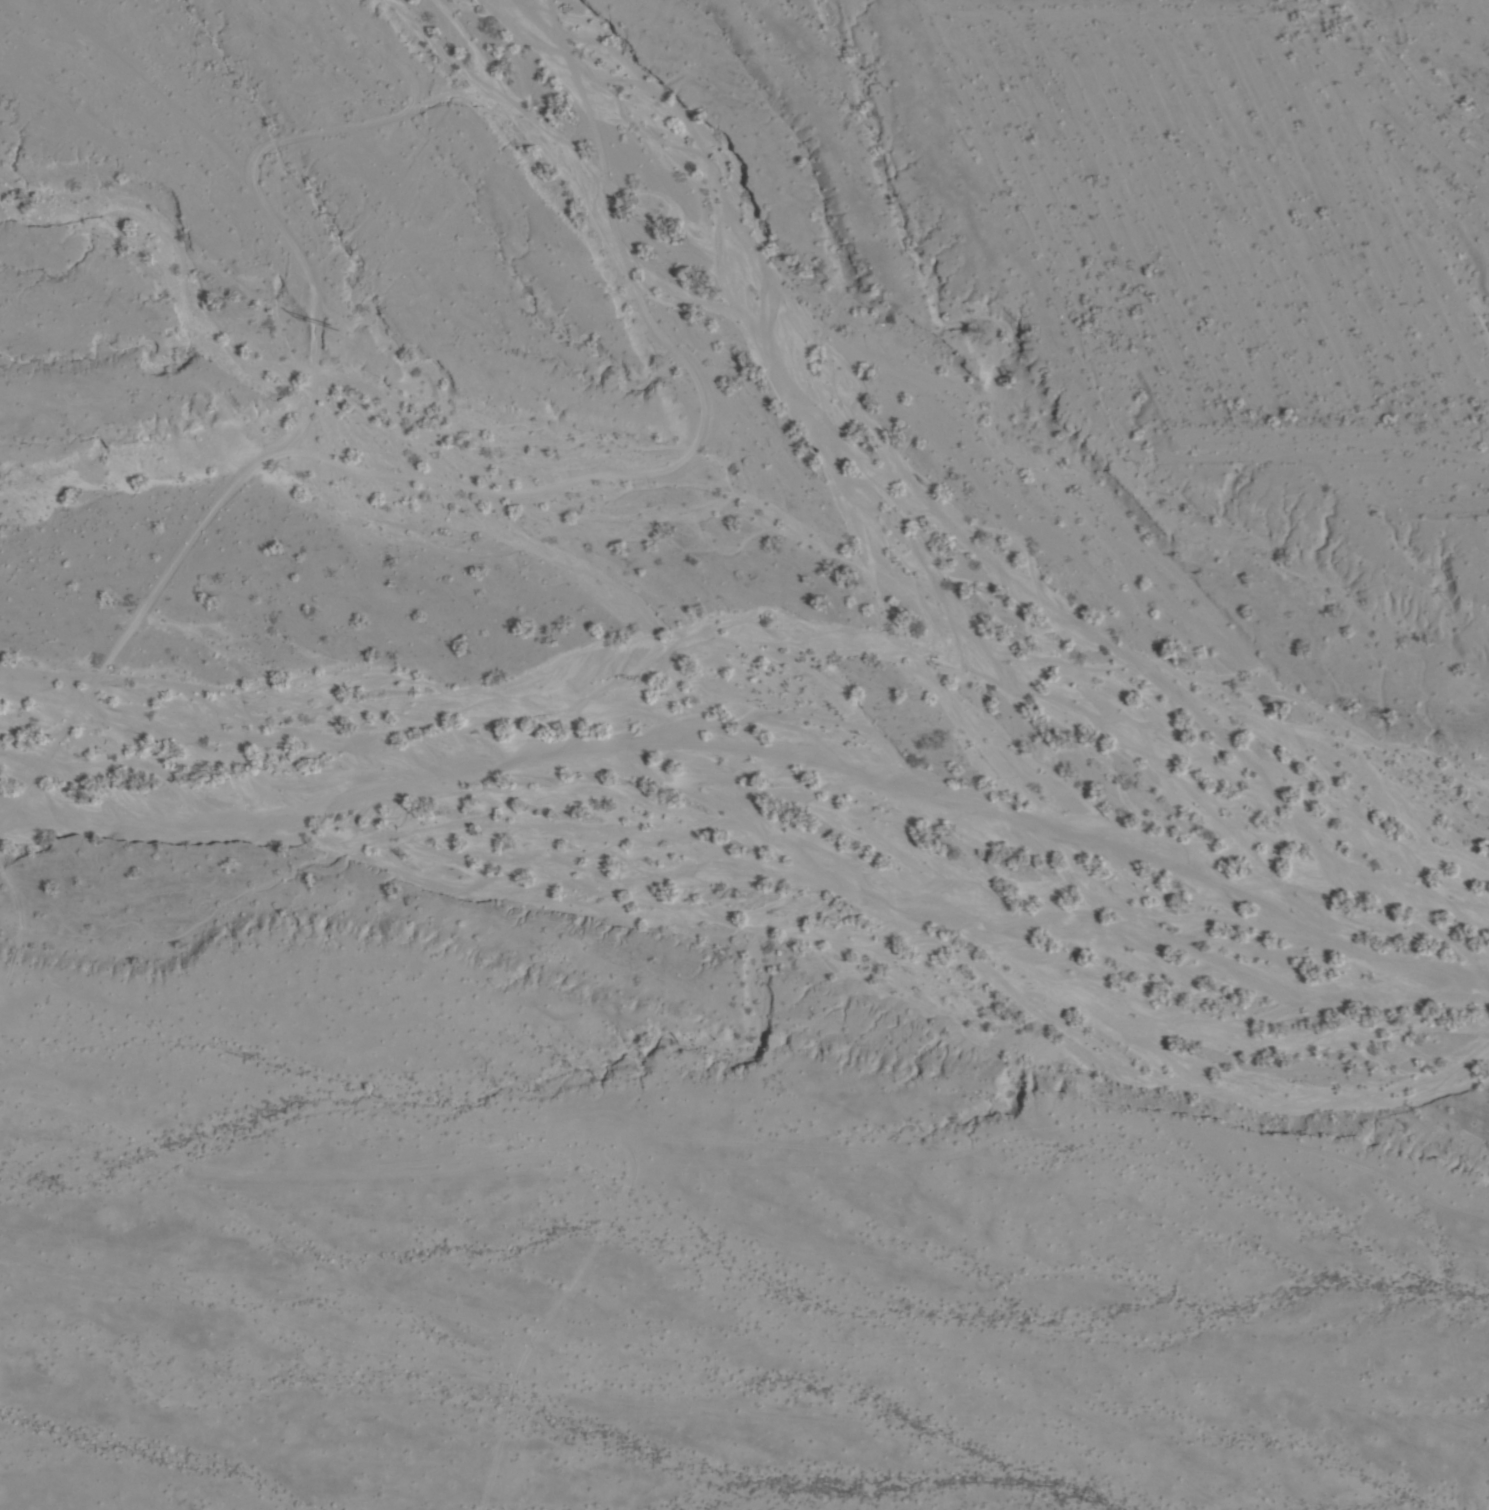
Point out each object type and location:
power tower: (337, 322)

